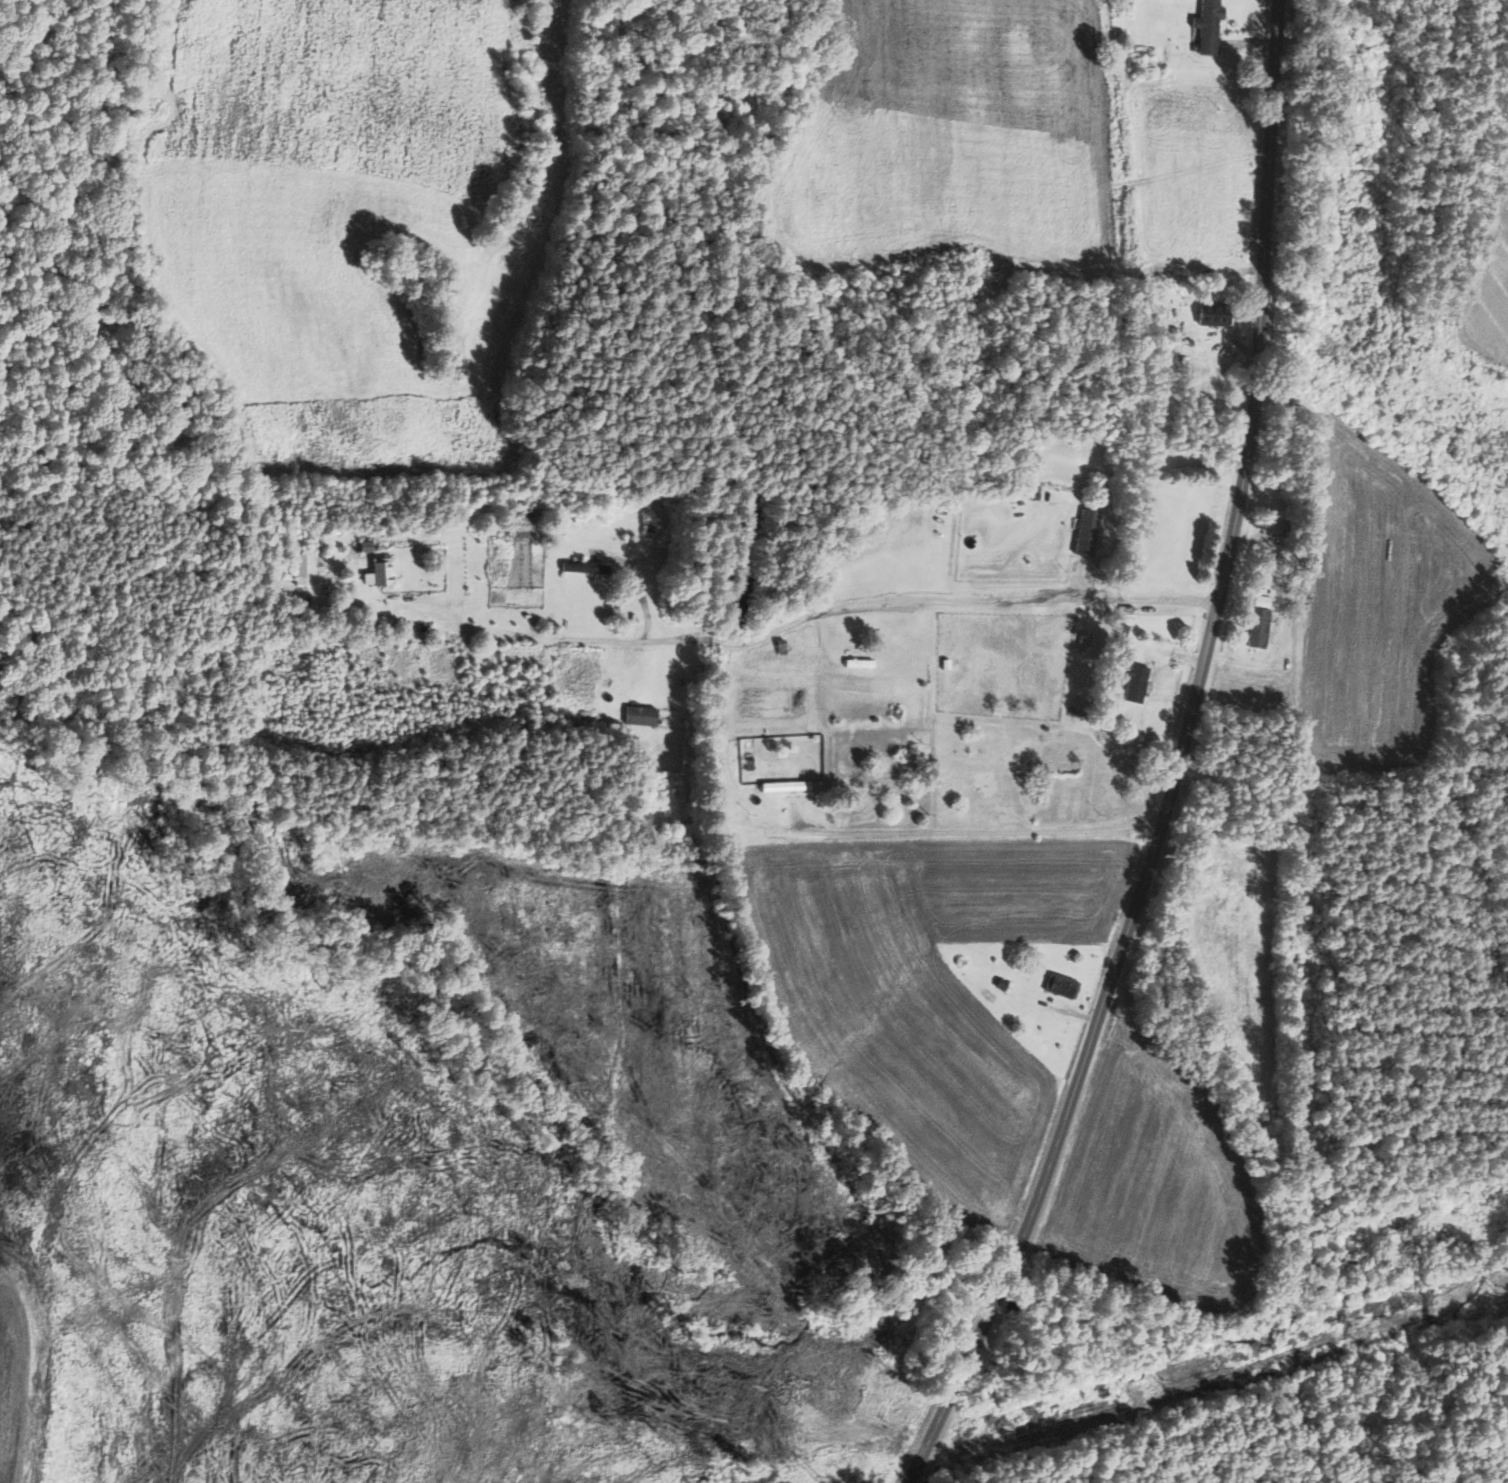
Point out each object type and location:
building: (1210, 25)
building: (1217, 313)
building: (524, 523)
building: (1088, 532)
building: (587, 567)
building: (300, 569)
building: (385, 570)
road: (799, 617)
building: (1261, 627)
building: (1086, 639)
building: (1139, 683)
building: (641, 715)
road: (1174, 761)
building: (788, 786)
road: (975, 832)
building: (1062, 985)
power tower: (1498, 1289)
power tower: (1165, 1380)
power tower: (818, 1478)

